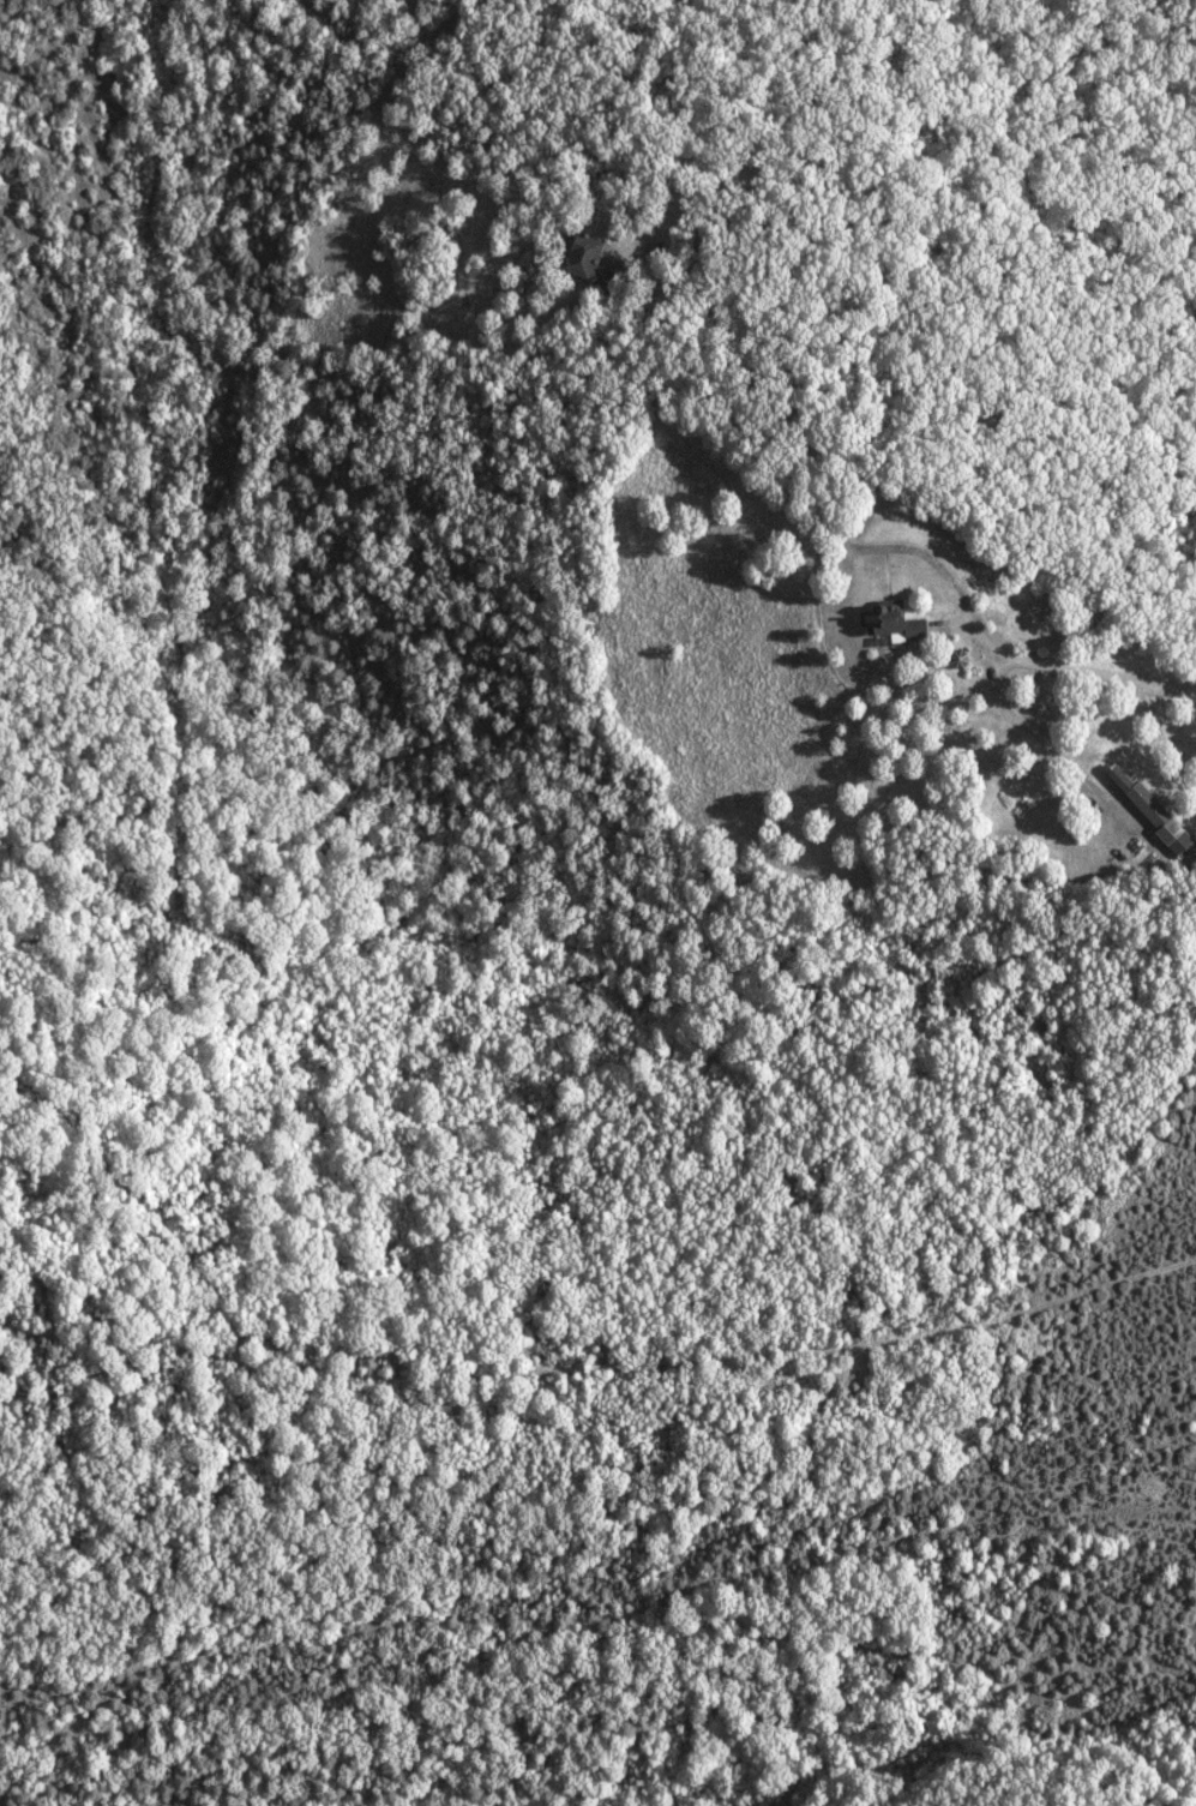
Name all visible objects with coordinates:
building: (579, 254)
building: (1158, 811)

